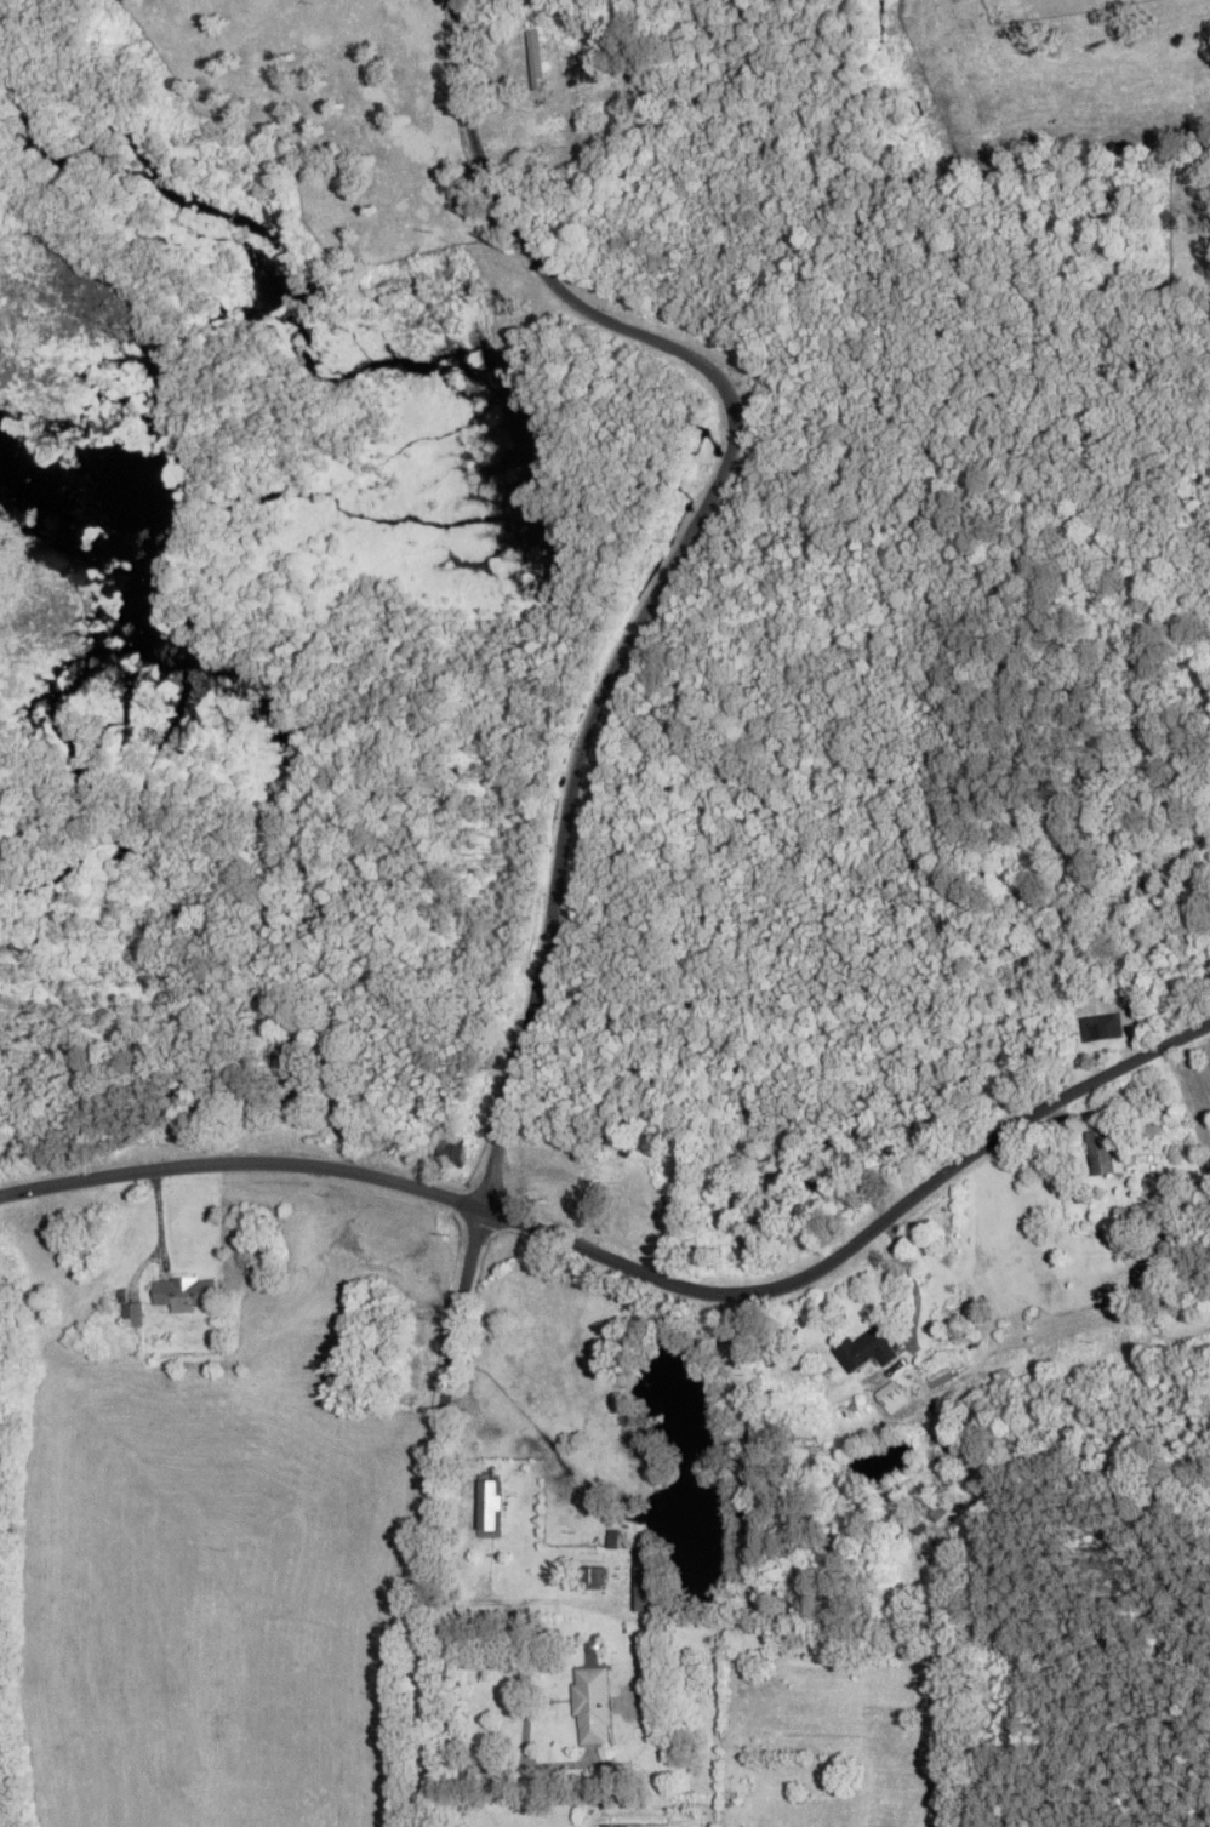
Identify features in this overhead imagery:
building: (526, 61)
river: (336, 379)
river: (141, 542)
road: (563, 838)
building: (1101, 1028)
building: (278, 1057)
building: (1102, 1154)
building: (607, 1186)
road: (635, 1269)
building: (182, 1295)
building: (864, 1351)
building: (891, 1398)
building: (489, 1509)
building: (593, 1577)
building: (640, 1582)
building: (590, 1708)
road: (393, 1732)

